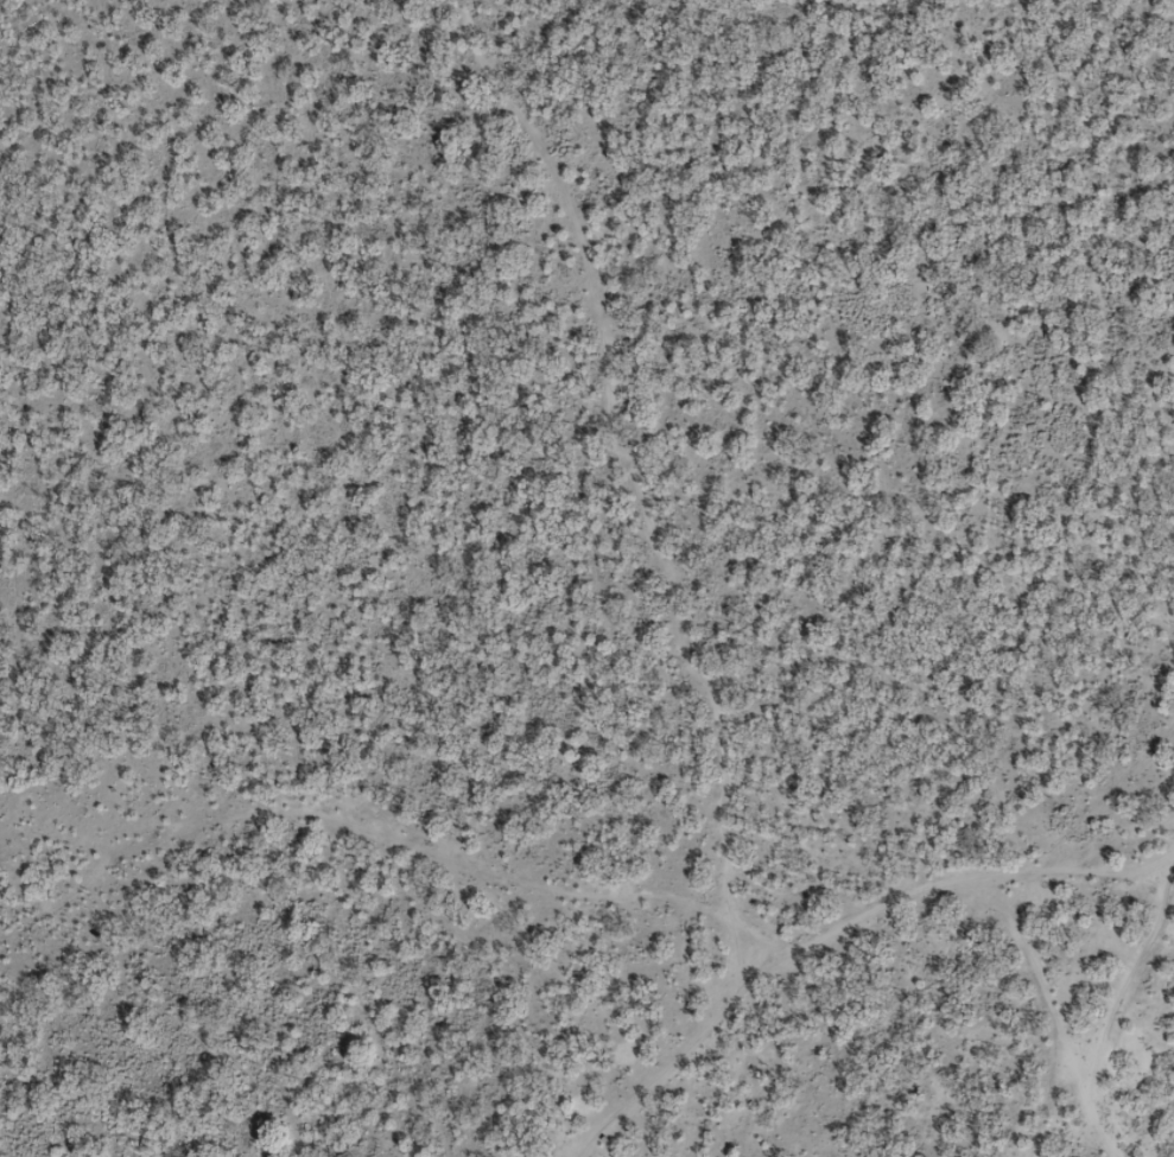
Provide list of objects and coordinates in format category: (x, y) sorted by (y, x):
road: (869, 955)

